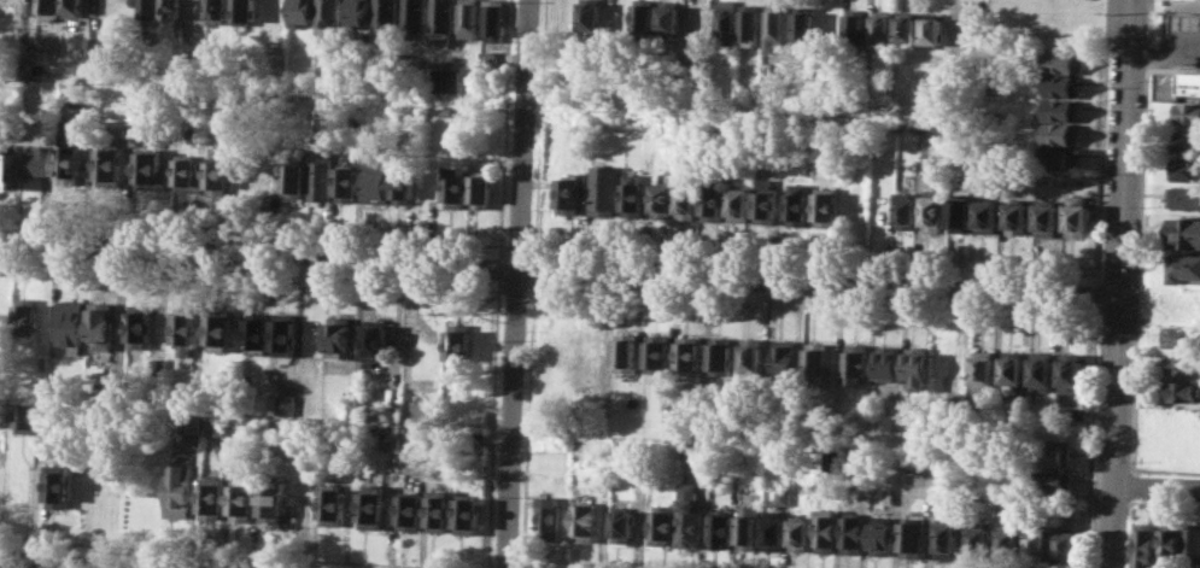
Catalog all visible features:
building: (71, 7)
building: (147, 8)
building: (46, 10)
building: (216, 11)
building: (191, 12)
building: (242, 12)
building: (298, 12)
building: (356, 13)
building: (327, 16)
building: (385, 16)
building: (169, 17)
building: (412, 17)
building: (587, 17)
building: (668, 17)
building: (468, 18)
building: (642, 18)
building: (493, 19)
building: (696, 19)
building: (440, 22)
building: (725, 22)
building: (748, 22)
building: (804, 23)
building: (1187, 23)
gas station: (1187, 23)
building: (855, 25)
building: (774, 27)
building: (883, 27)
building: (907, 27)
building: (933, 28)
building: (88, 45)
building: (487, 58)
building: (1065, 63)
building: (780, 70)
building: (444, 80)
building: (1189, 84)
building: (1064, 86)
building: (1059, 110)
building: (1187, 113)
building: (131, 115)
road: (504, 128)
road: (540, 128)
building: (68, 133)
building: (1061, 134)
building: (197, 135)
building: (234, 135)
road: (1102, 140)
building: (1188, 141)
building: (1061, 158)
building: (36, 160)
building: (479, 162)
building: (109, 163)
building: (68, 164)
building: (798, 164)
building: (7, 168)
building: (150, 169)
building: (1186, 169)
building: (217, 171)
building: (187, 175)
building: (321, 176)
building: (293, 180)
building: (375, 182)
building: (347, 183)
building: (404, 183)
building: (457, 186)
building: (605, 188)
building: (482, 192)
building: (568, 195)
building: (633, 195)
building: (1184, 197)
building: (662, 200)
building: (767, 200)
building: (689, 201)
building: (716, 201)
building: (798, 201)
building: (743, 204)
building: (829, 205)
building: (936, 207)
building: (909, 210)
building: (964, 211)
building: (990, 213)
building: (1020, 216)
building: (1049, 216)
building: (1079, 216)
road: (253, 229)
building: (1187, 232)
road: (517, 245)
road: (813, 258)
road: (498, 267)
road: (534, 268)
road: (558, 268)
building: (1186, 268)
road: (252, 274)
road: (517, 283)
road: (1119, 283)
road: (515, 289)
road: (1096, 293)
road: (810, 303)
building: (25, 318)
building: (70, 324)
building: (139, 324)
building: (100, 326)
building: (219, 327)
building: (258, 330)
building: (186, 332)
building: (285, 333)
building: (339, 335)
building: (1182, 335)
building: (375, 339)
building: (459, 342)
building: (590, 345)
building: (630, 352)
building: (692, 355)
building: (724, 356)
building: (662, 357)
building: (755, 358)
building: (788, 359)
building: (891, 362)
building: (860, 363)
building: (1181, 363)
building: (819, 364)
building: (919, 367)
building: (158, 369)
building: (1014, 370)
building: (1044, 370)
building: (985, 371)
building: (1073, 371)
building: (107, 390)
building: (1181, 390)
building: (286, 404)
building: (428, 408)
building: (1077, 412)
building: (361, 415)
building: (391, 416)
building: (27, 418)
building: (479, 418)
building: (886, 421)
building: (188, 422)
road: (492, 422)
road: (527, 422)
building: (222, 424)
building: (349, 432)
road: (1091, 437)
building: (390, 439)
building: (697, 453)
building: (1054, 455)
building: (832, 459)
building: (59, 481)
building: (1054, 481)
road: (1157, 487)
building: (178, 490)
building: (212, 497)
building: (242, 499)
road: (33, 500)
building: (271, 500)
building: (333, 503)
building: (374, 506)
building: (440, 509)
building: (410, 510)
building: (468, 513)
building: (690, 515)
building: (548, 517)
building: (585, 521)
building: (662, 523)
building: (624, 525)
building: (748, 527)
building: (773, 528)
building: (721, 529)
building: (798, 531)
building: (826, 531)
building: (947, 532)
building: (854, 534)
building: (880, 534)
building: (913, 534)
building: (978, 540)
building: (1170, 541)
building: (1192, 541)
building: (1009, 544)
building: (1037, 544)
building: (1146, 544)
building: (1067, 546)
road: (227, 551)
road: (68, 563)

